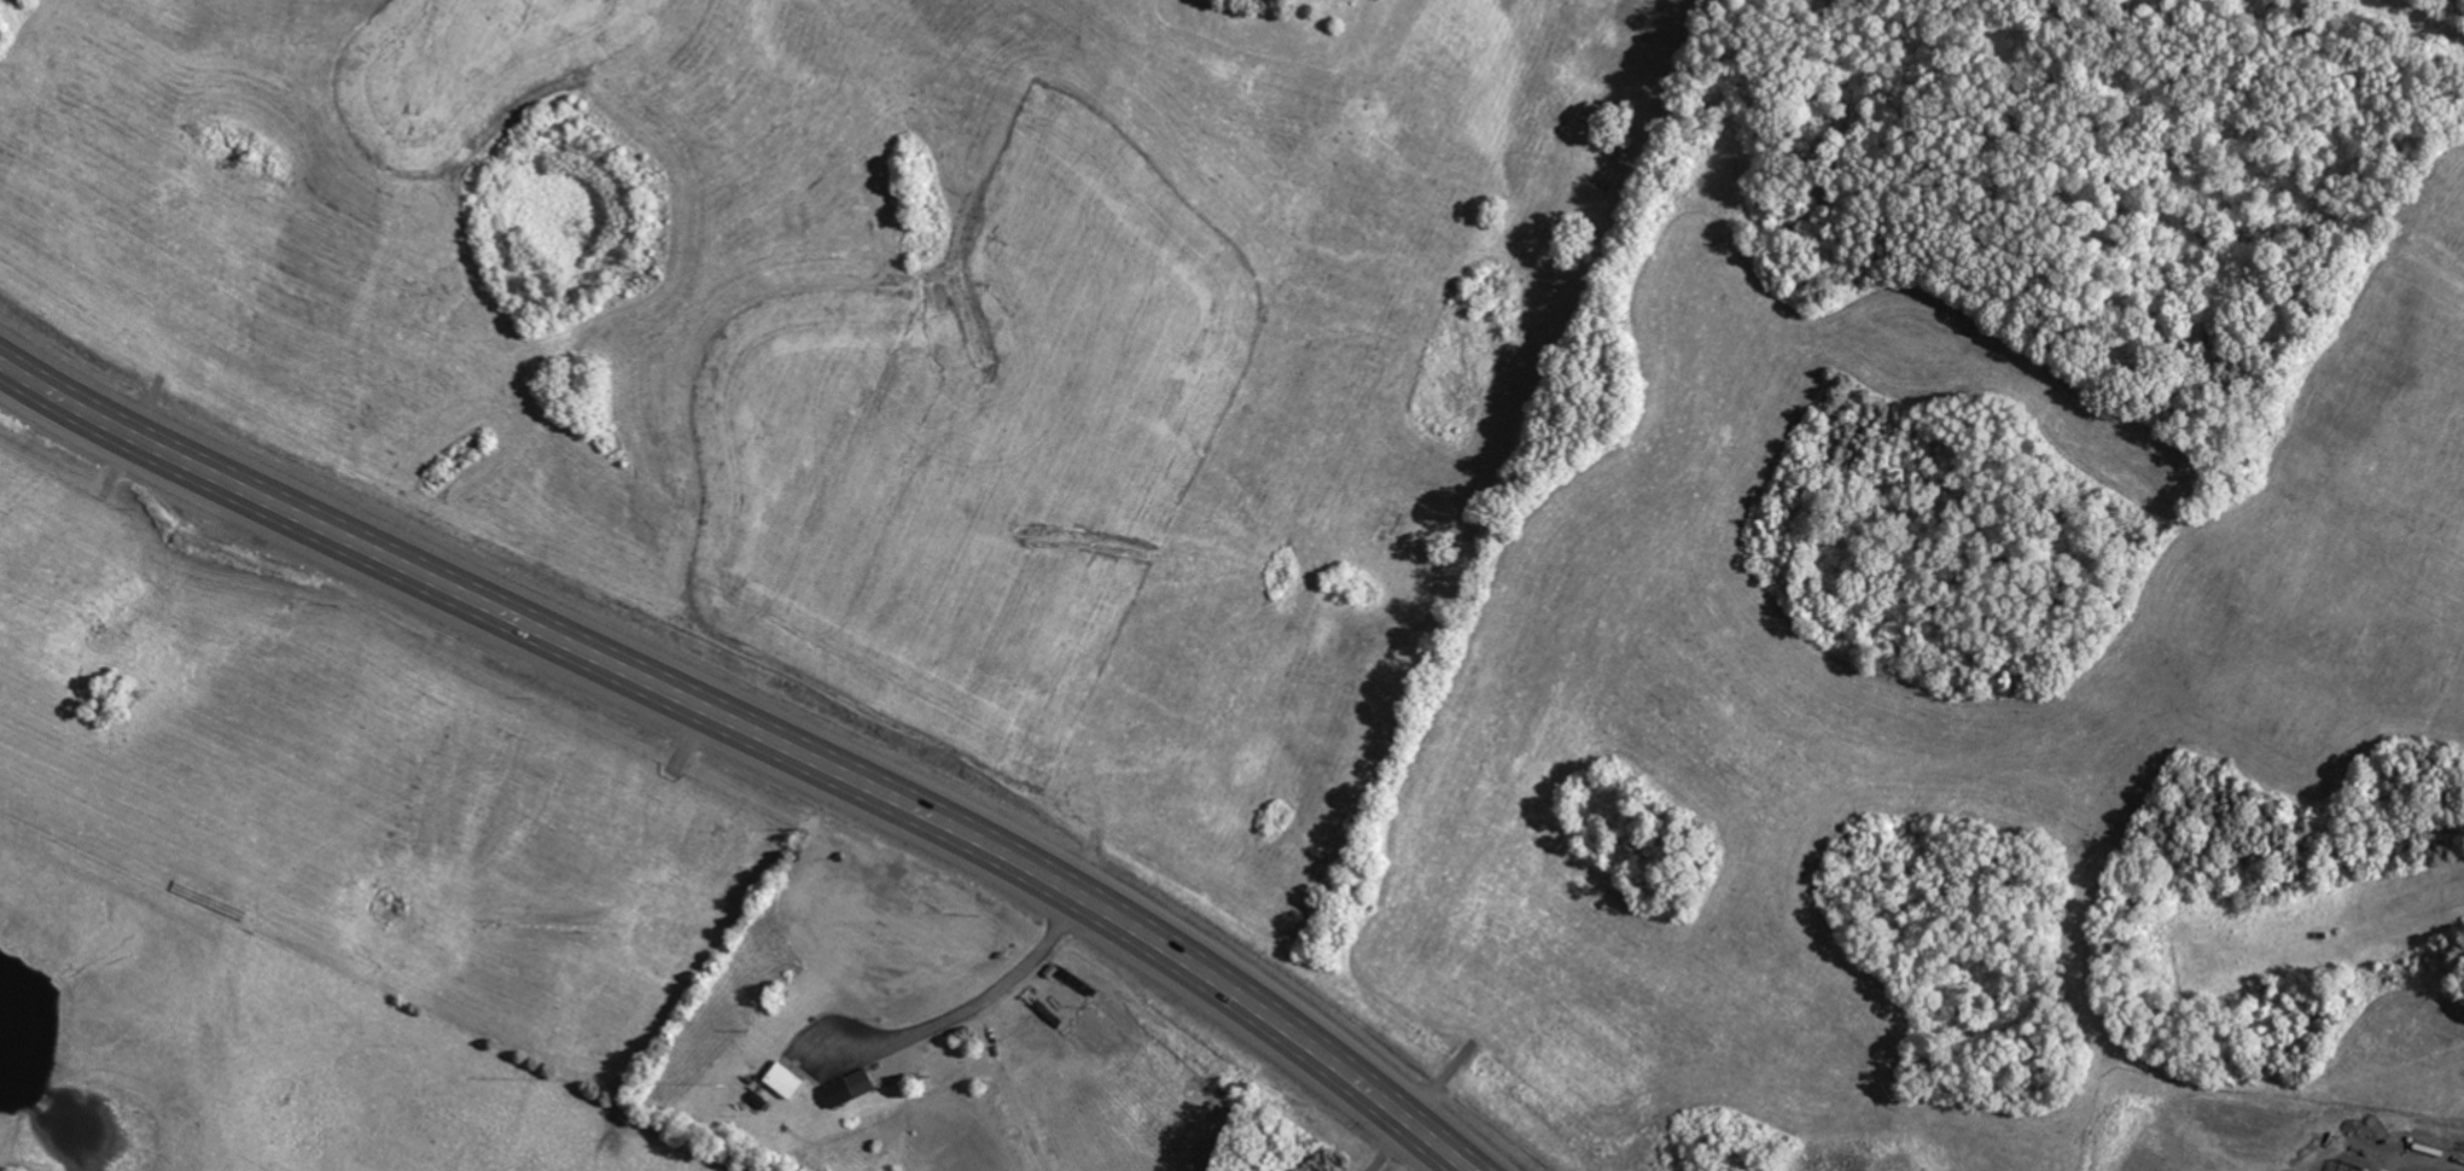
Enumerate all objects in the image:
road: (755, 733)
road: (268, 985)
road: (991, 991)
building: (788, 1080)
building: (852, 1089)
road: (1007, 1089)
building: (762, 1101)

